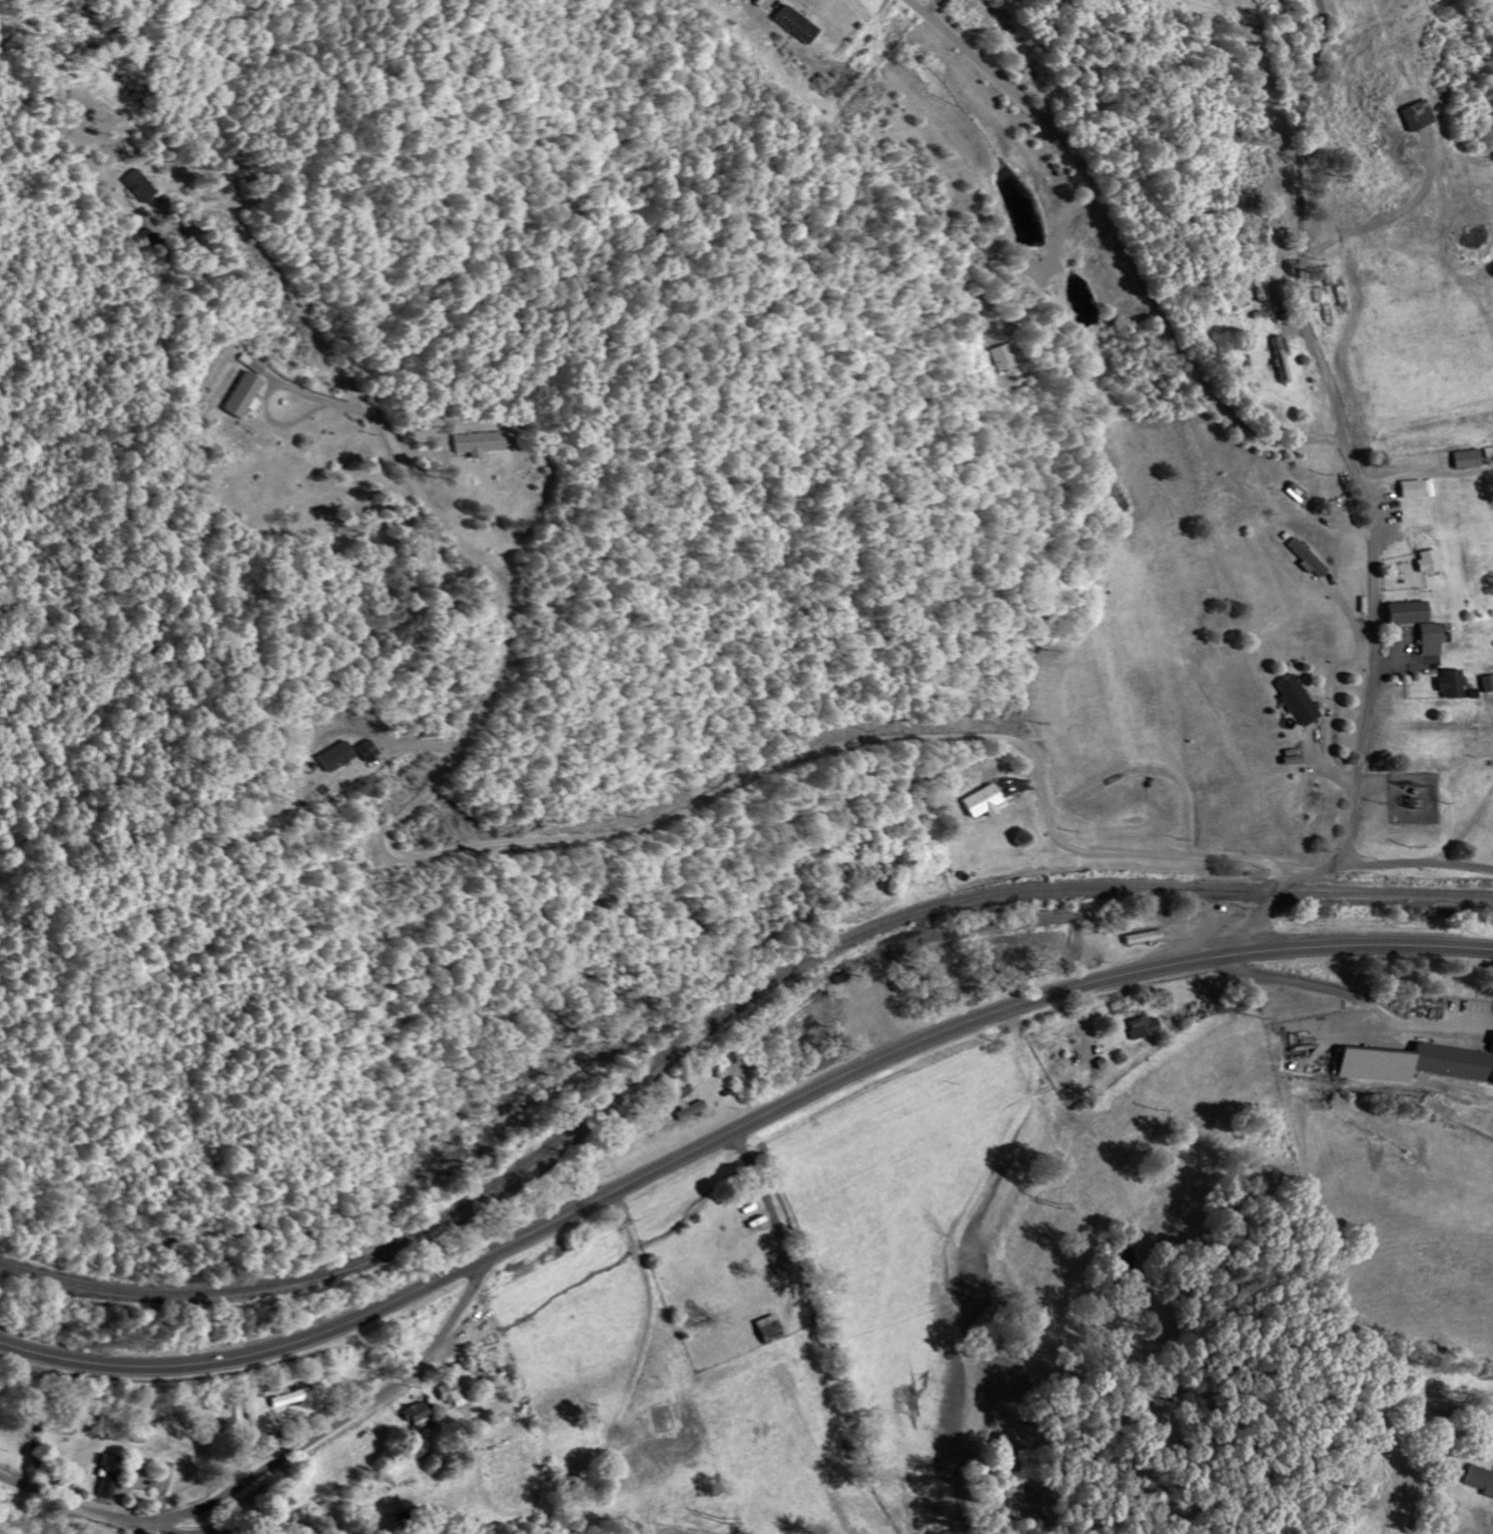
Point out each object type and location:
building: (792, 25)
building: (1405, 116)
building: (139, 186)
road: (154, 205)
road: (1117, 244)
building: (1252, 292)
building: (1002, 357)
building: (1274, 359)
road: (271, 386)
building: (243, 395)
building: (478, 443)
road: (1360, 480)
building: (1411, 488)
building: (1287, 491)
building: (1421, 561)
building: (1399, 612)
road: (1350, 625)
building: (1423, 639)
building: (1444, 683)
building: (1483, 683)
building: (1287, 698)
road: (1324, 714)
road: (415, 746)
building: (335, 757)
power substation: (1421, 797)
building: (977, 800)
road: (505, 843)
road: (1416, 862)
road: (1061, 918)
road: (1249, 937)
road: (1361, 997)
road: (890, 1001)
railway: (718, 1017)
building: (1142, 1026)
building: (1491, 1040)
building: (1414, 1063)
building: (695, 1111)
road: (736, 1130)
road: (614, 1146)
road: (767, 1189)
road: (650, 1311)
building: (458, 1394)
building: (299, 1398)
building: (421, 1412)
road: (283, 1456)
building: (119, 1477)
building: (1477, 1481)
road: (1456, 1501)
road: (175, 1528)
road: (259, 1530)

